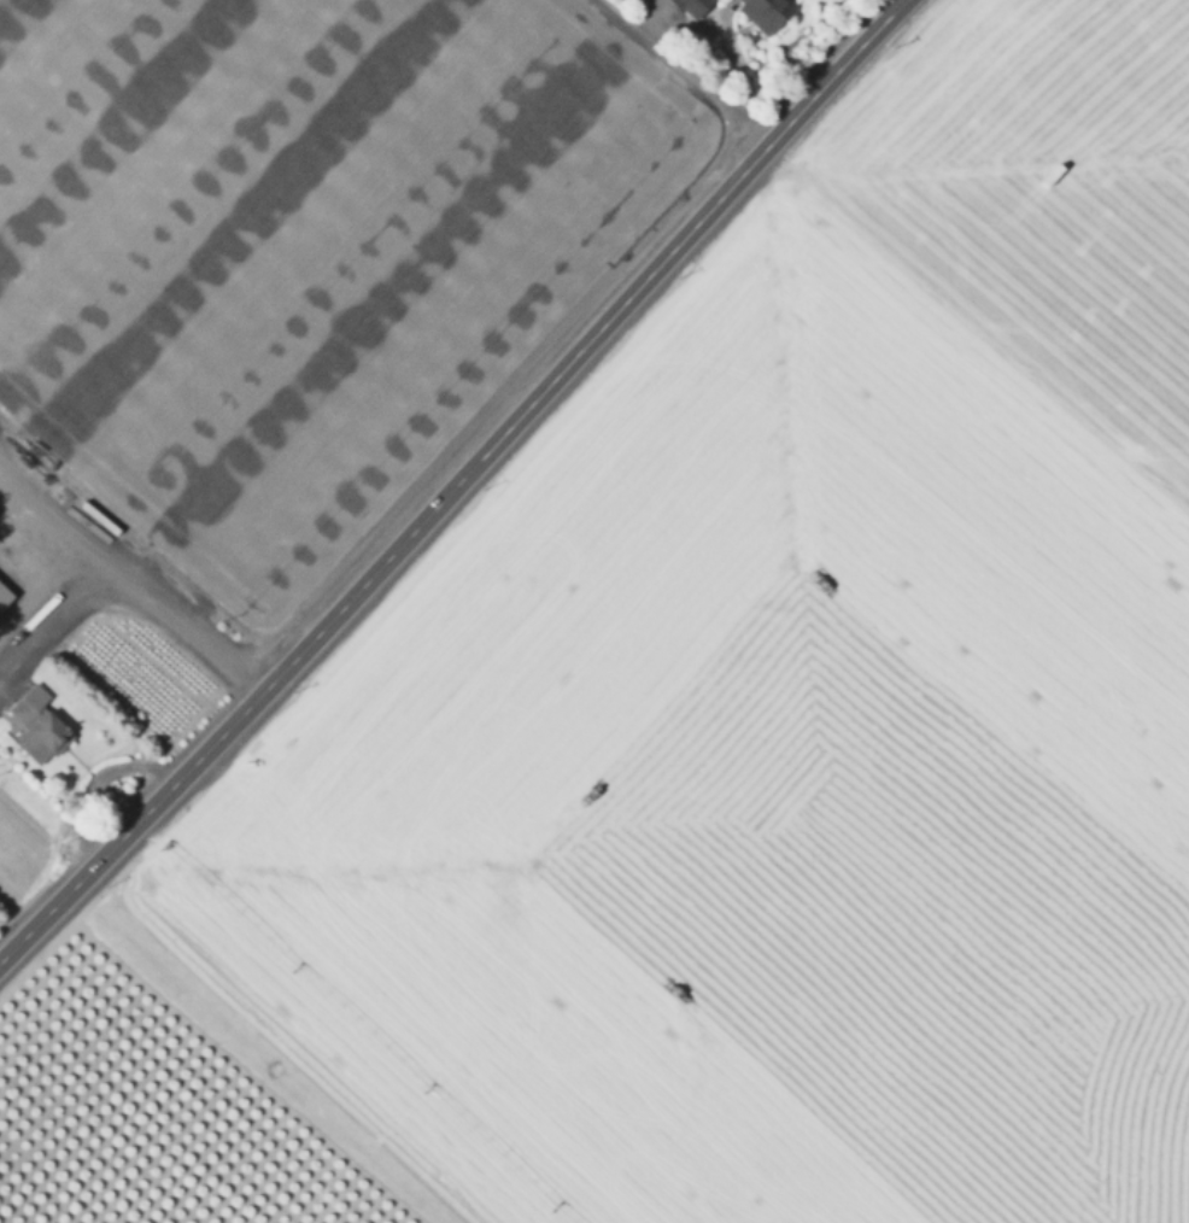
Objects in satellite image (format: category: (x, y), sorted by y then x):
building: (691, 7)
building: (765, 13)
road: (683, 71)
crop: (287, 306)
road: (455, 482)
road: (131, 578)
road: (47, 593)
building: (4, 595)
building: (29, 703)
building: (43, 737)
crop: (737, 751)

